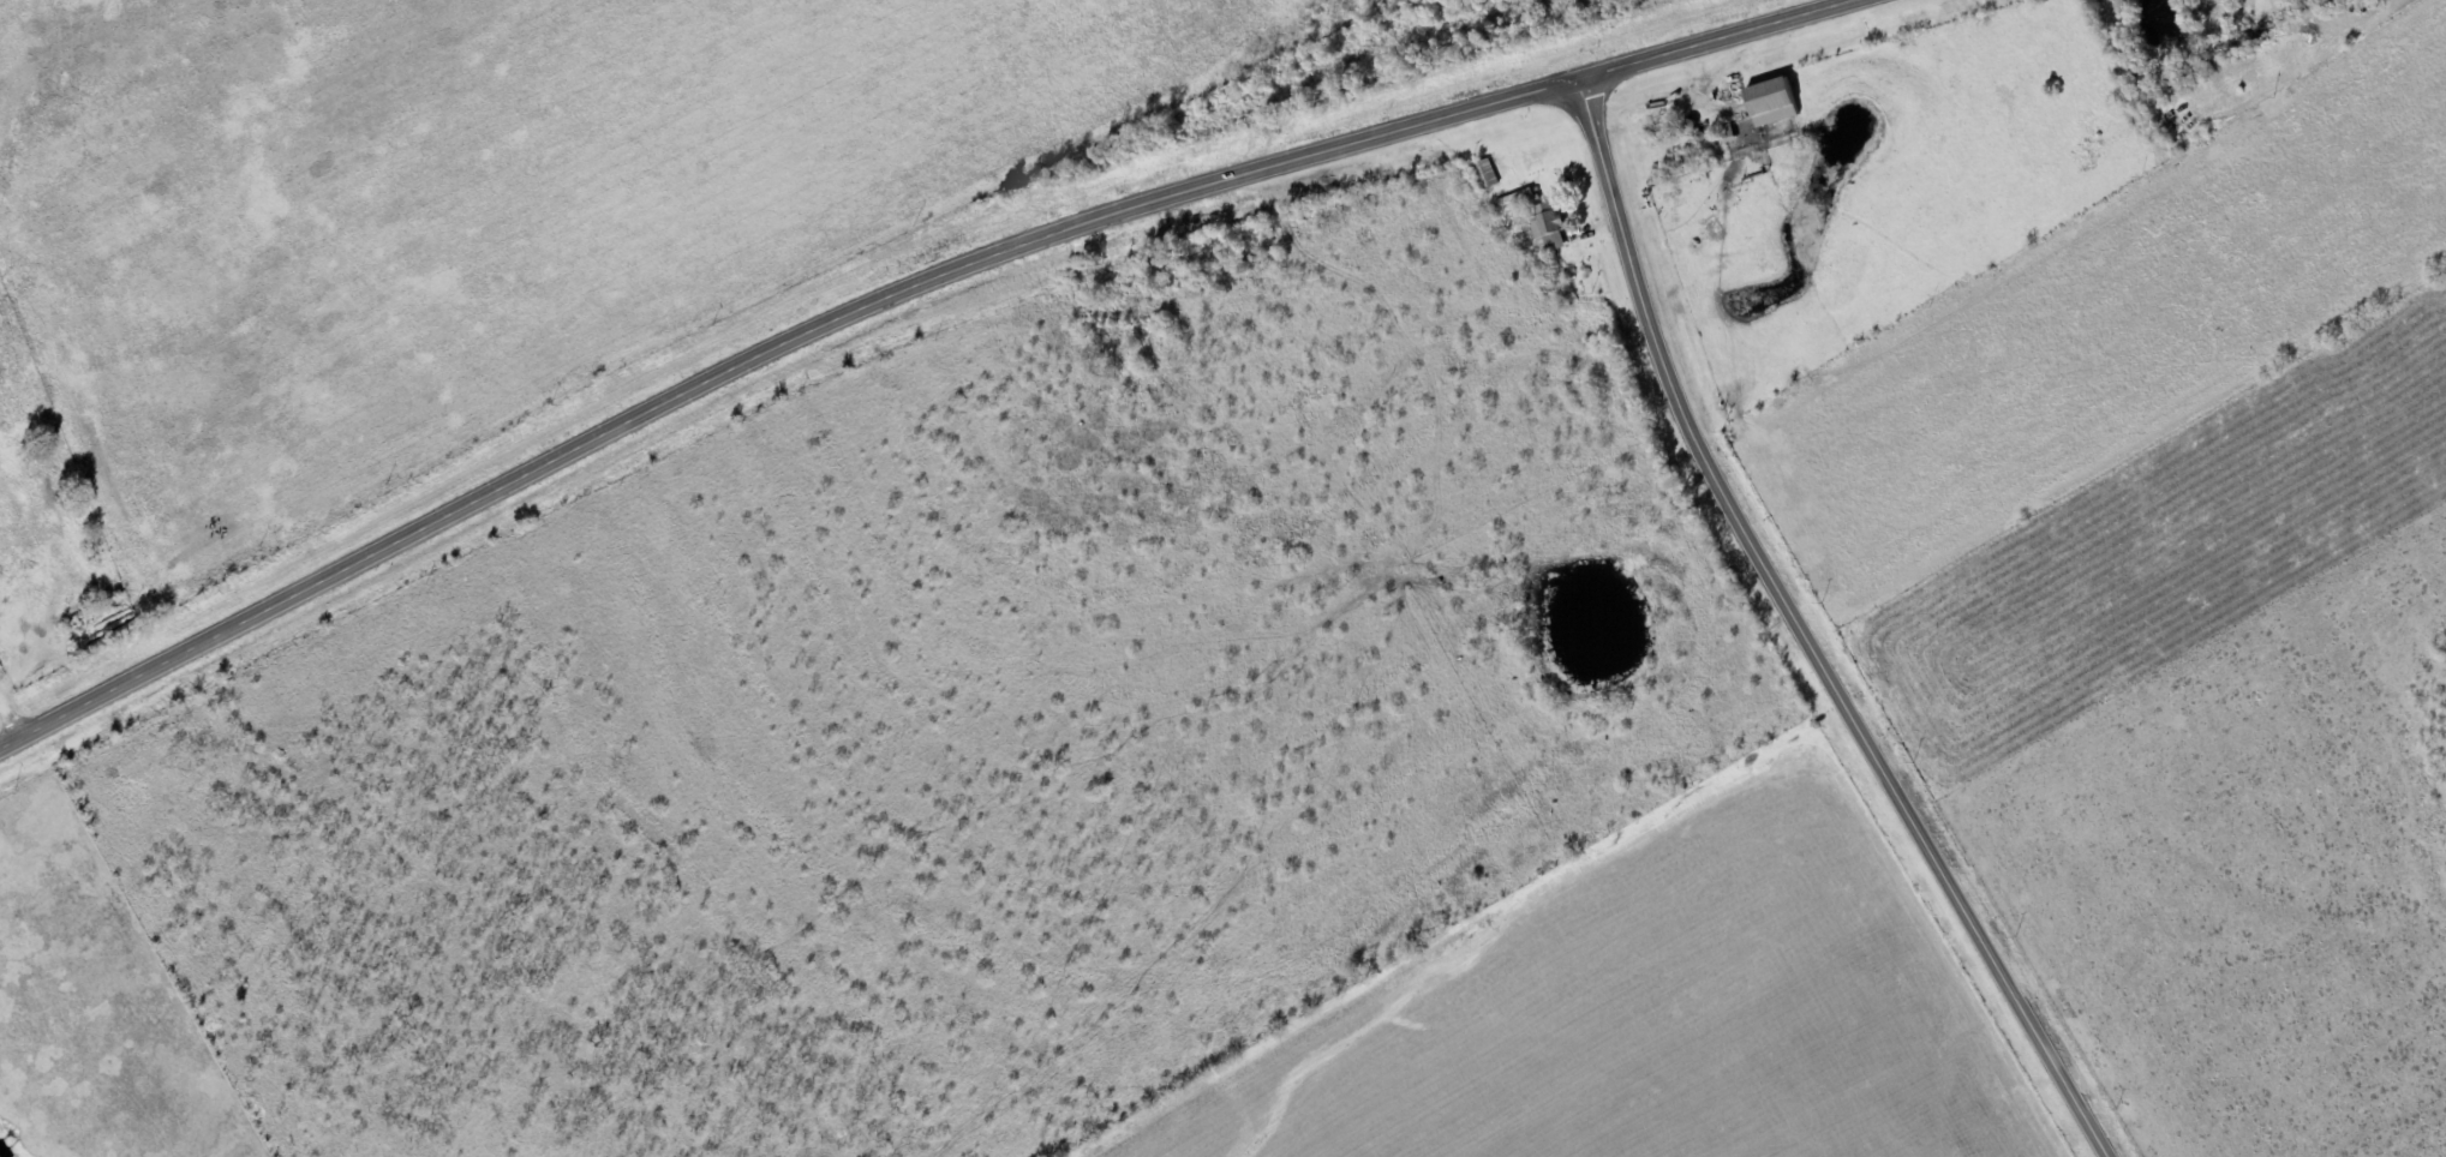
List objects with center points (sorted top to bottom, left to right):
road: (1712, 43)
building: (1775, 102)
building: (1488, 174)
road: (761, 361)
road: (1806, 637)
road: (1895, 671)
road: (12, 712)

